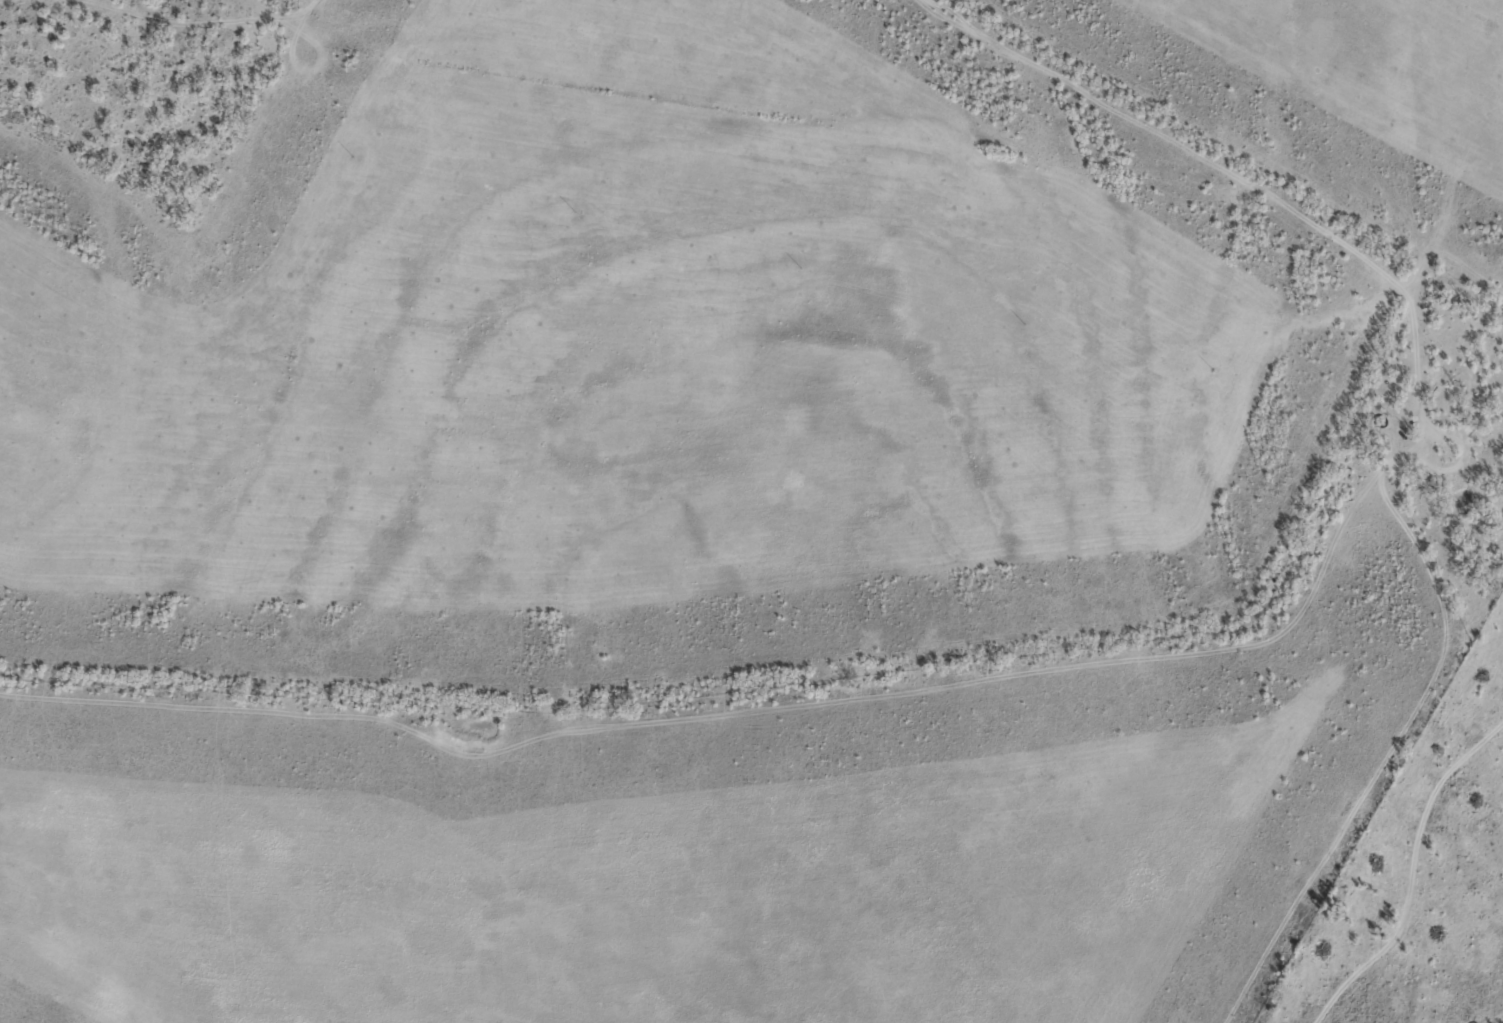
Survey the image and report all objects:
road: (1262, 159)
road: (1494, 377)
road: (1414, 881)

